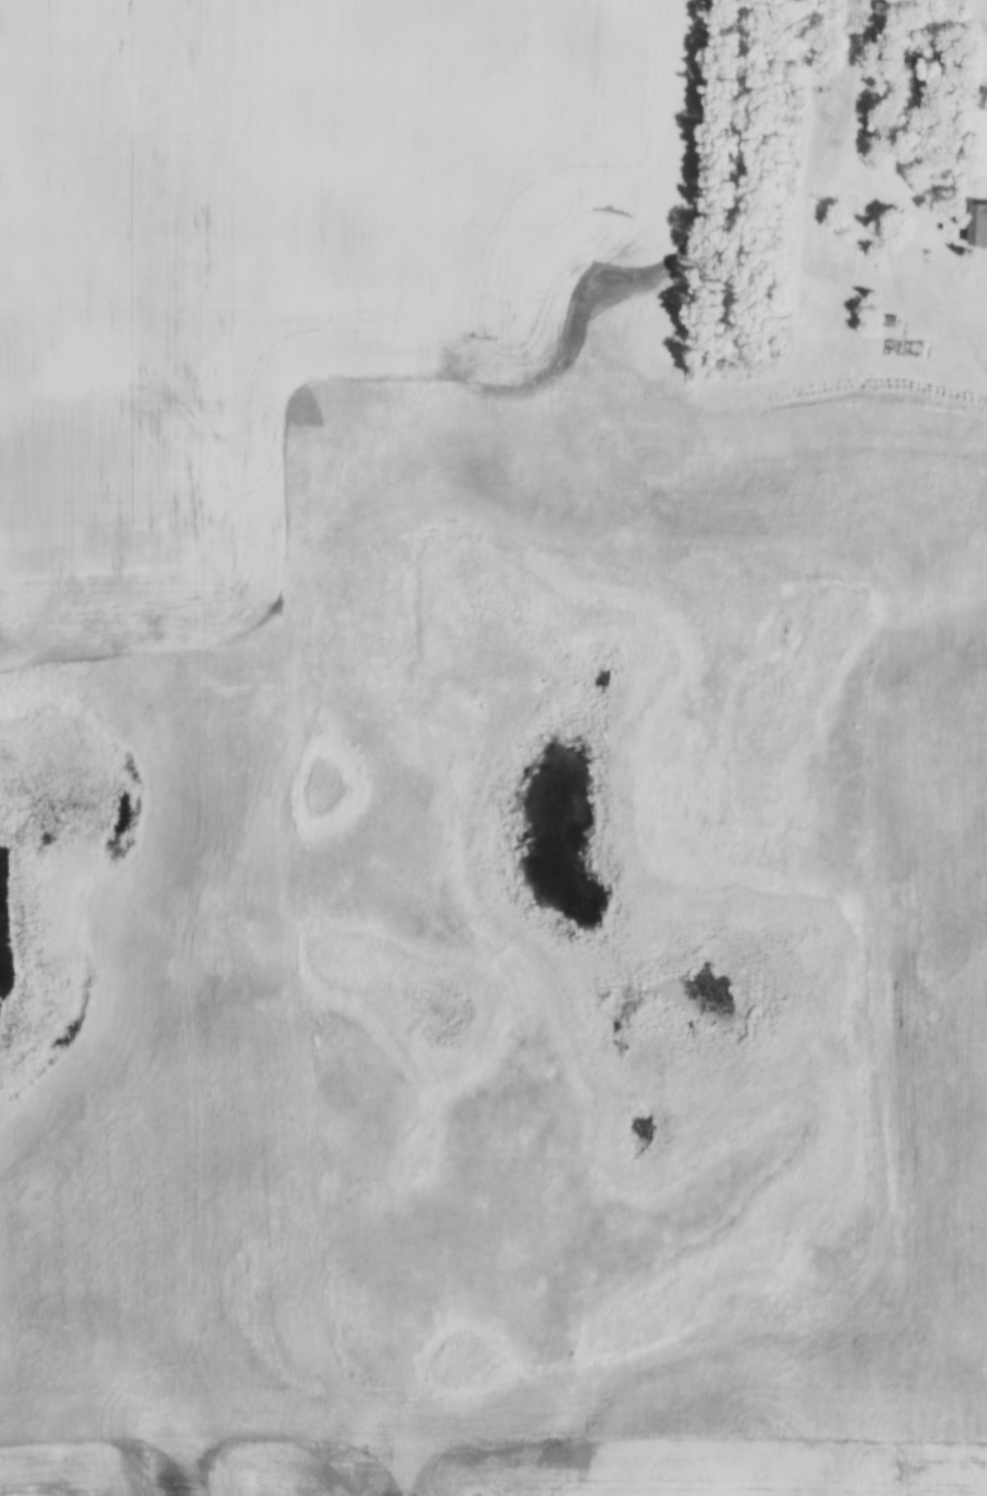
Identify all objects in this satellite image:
building: (978, 227)

